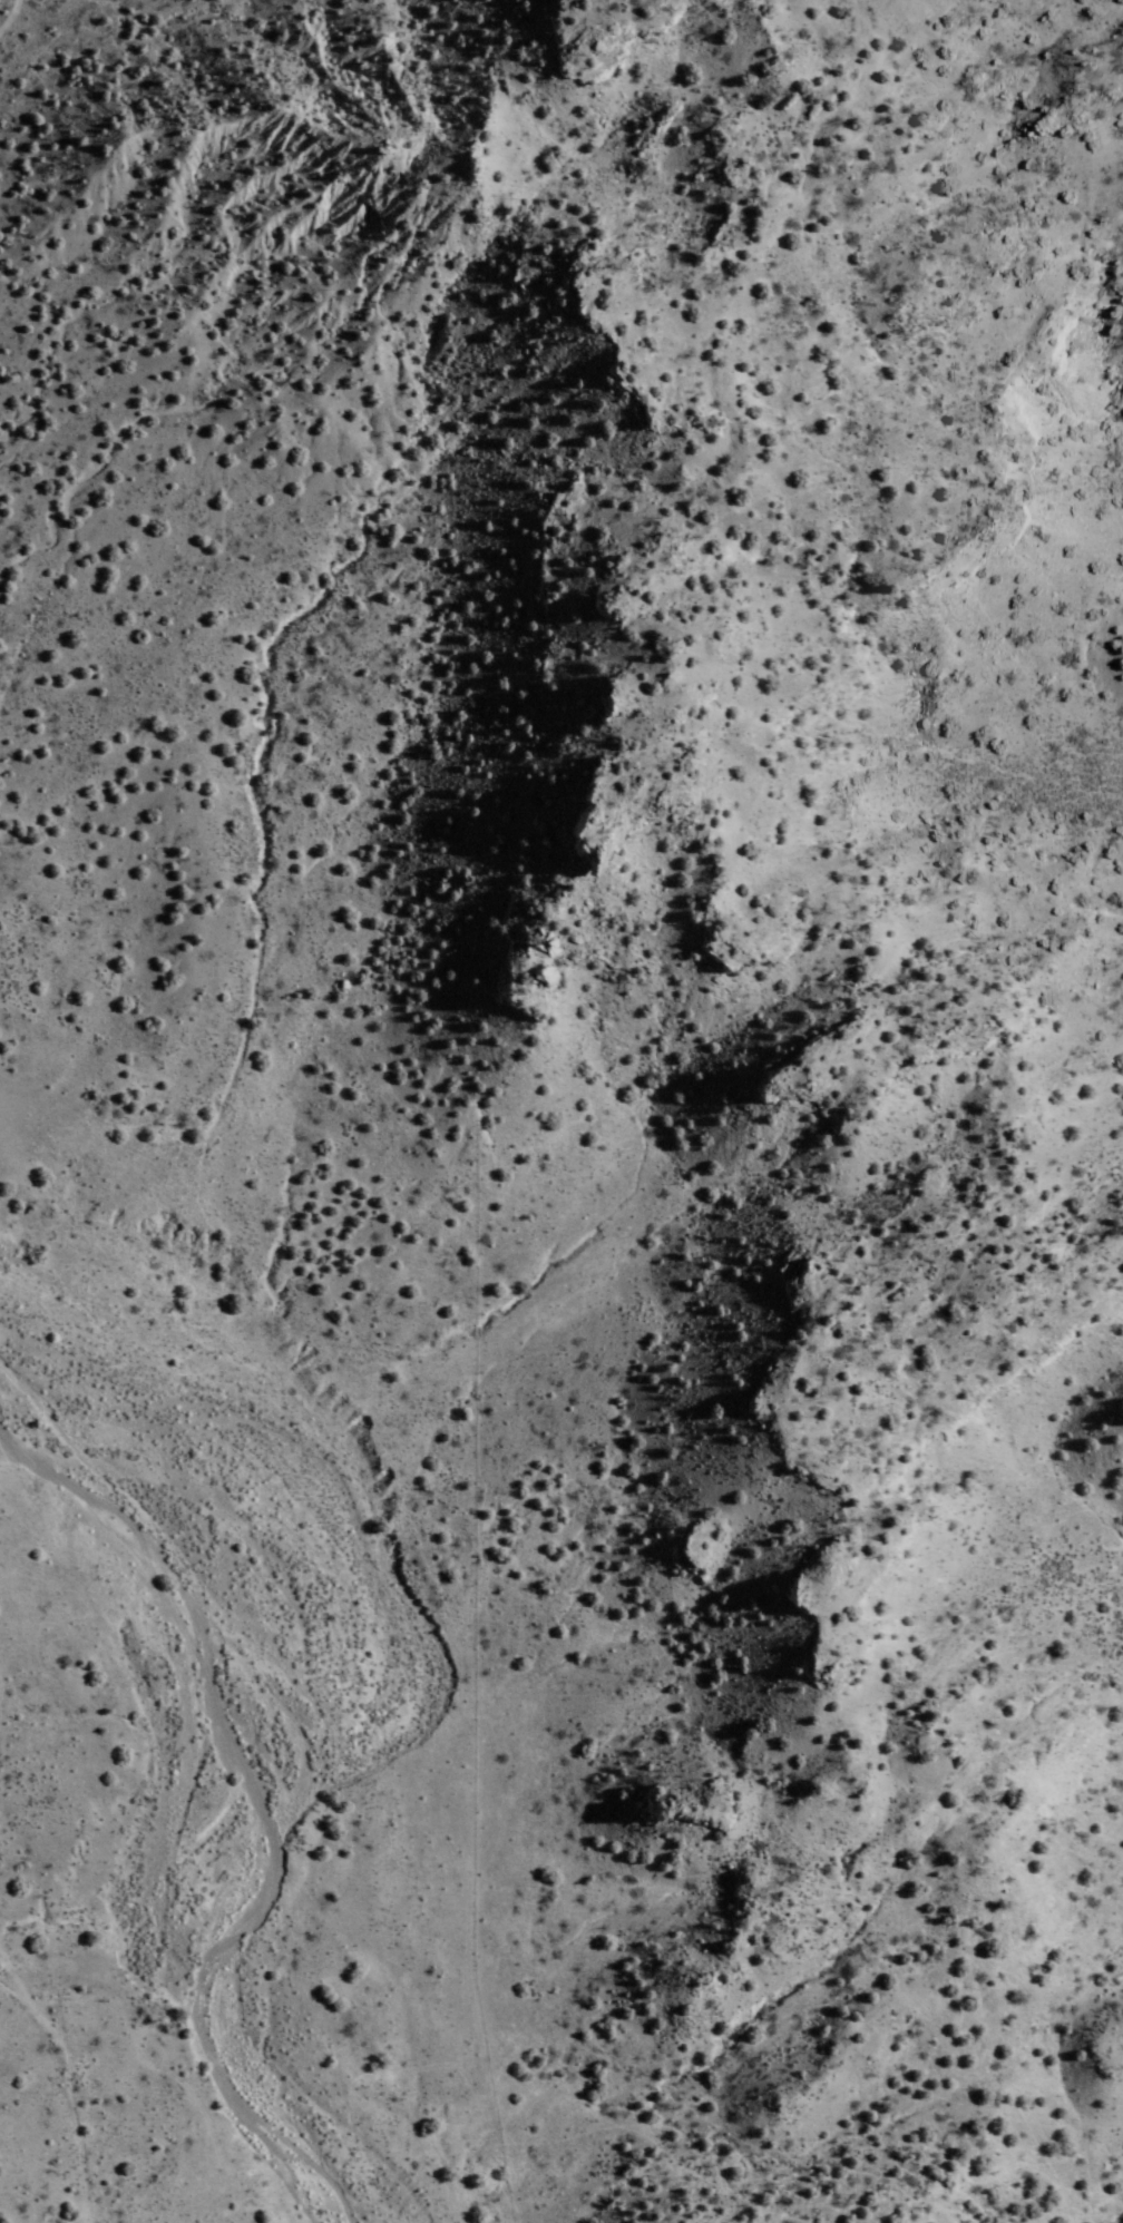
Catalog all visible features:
road: (76, 1635)
road: (79, 2090)

